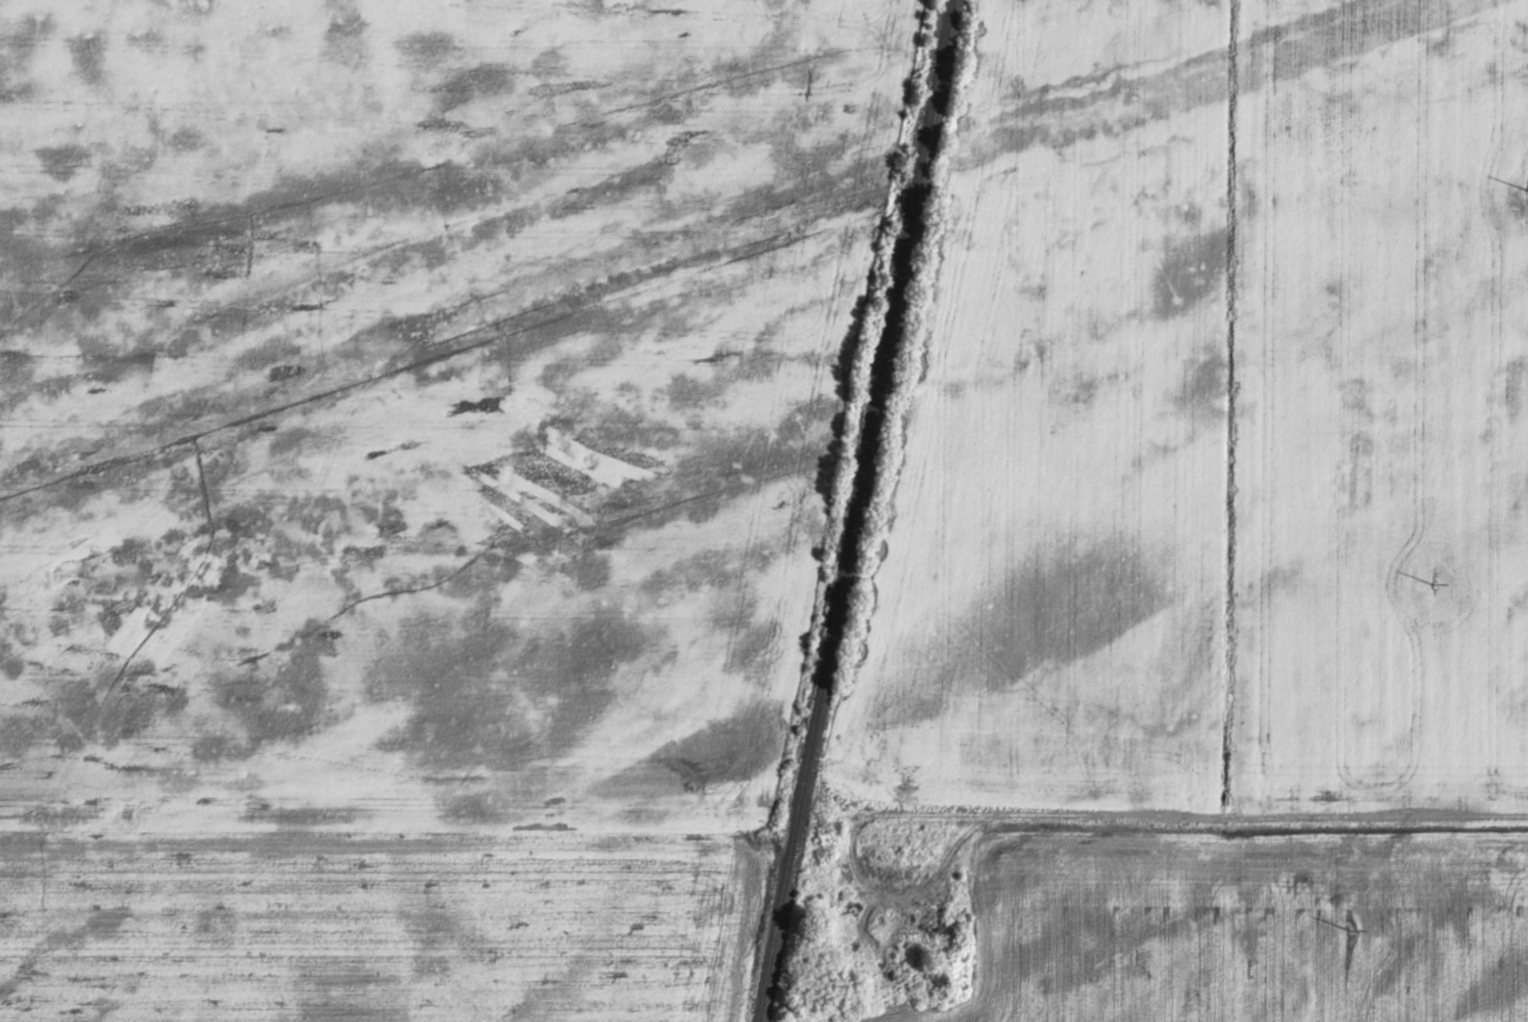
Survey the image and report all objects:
railway: (855, 511)
road: (372, 841)

